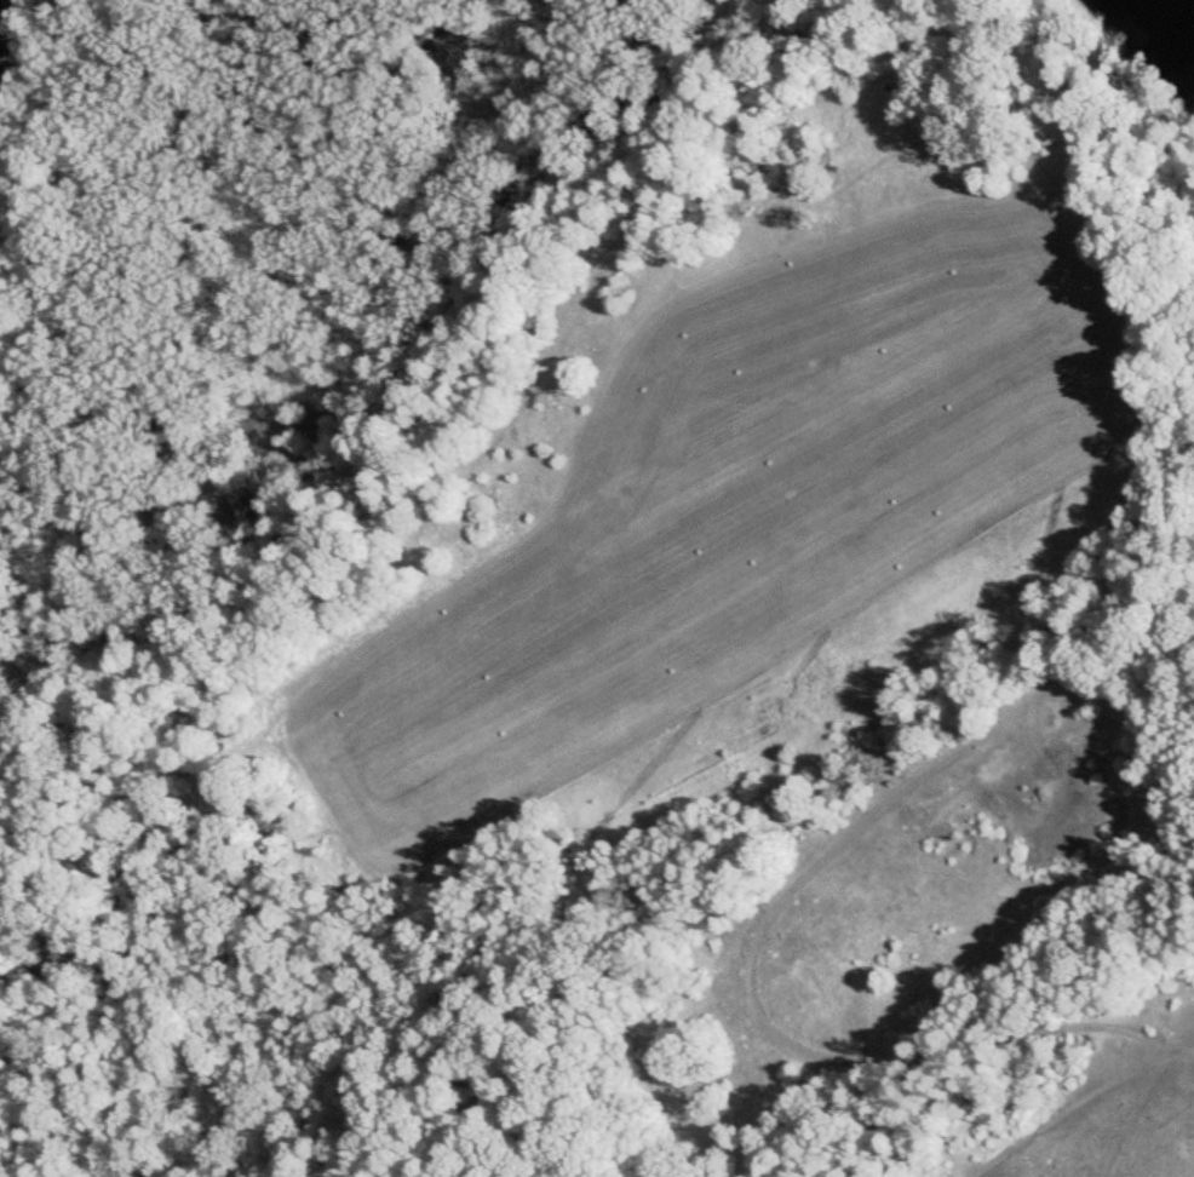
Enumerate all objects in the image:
road: (820, 817)

